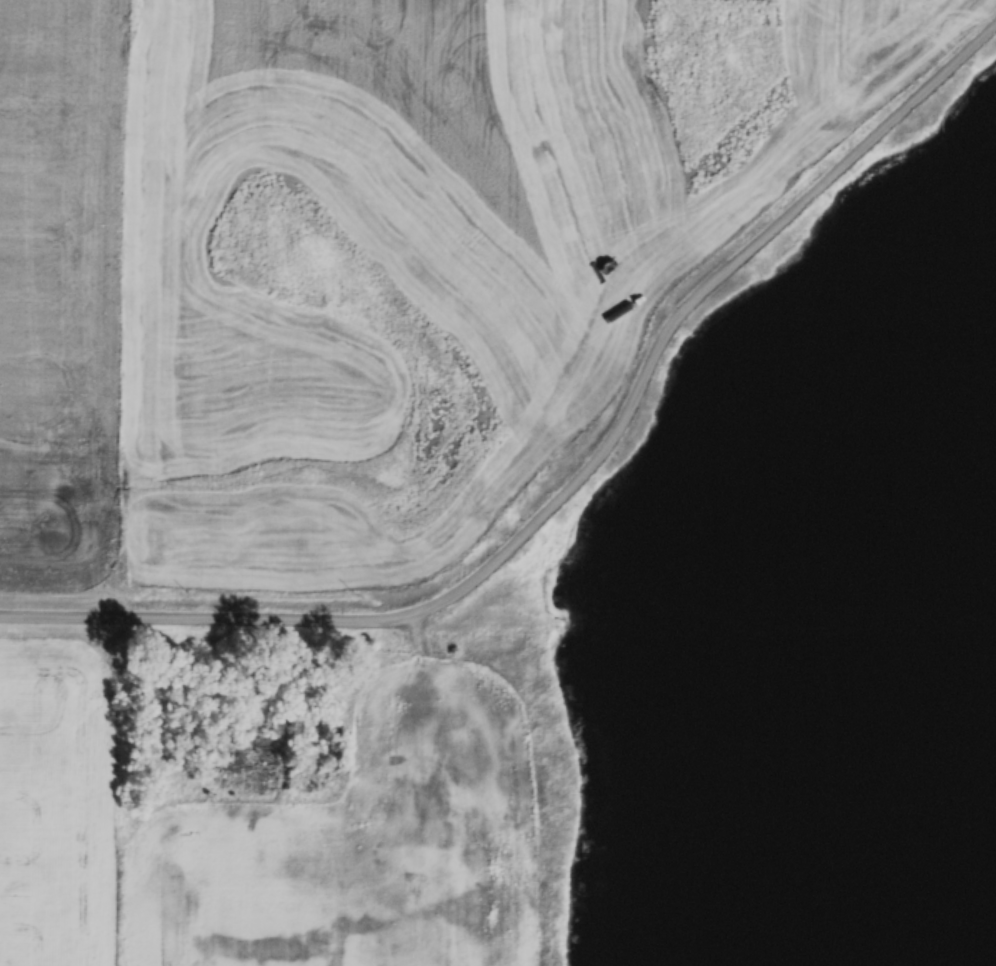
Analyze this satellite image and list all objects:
road: (575, 486)

